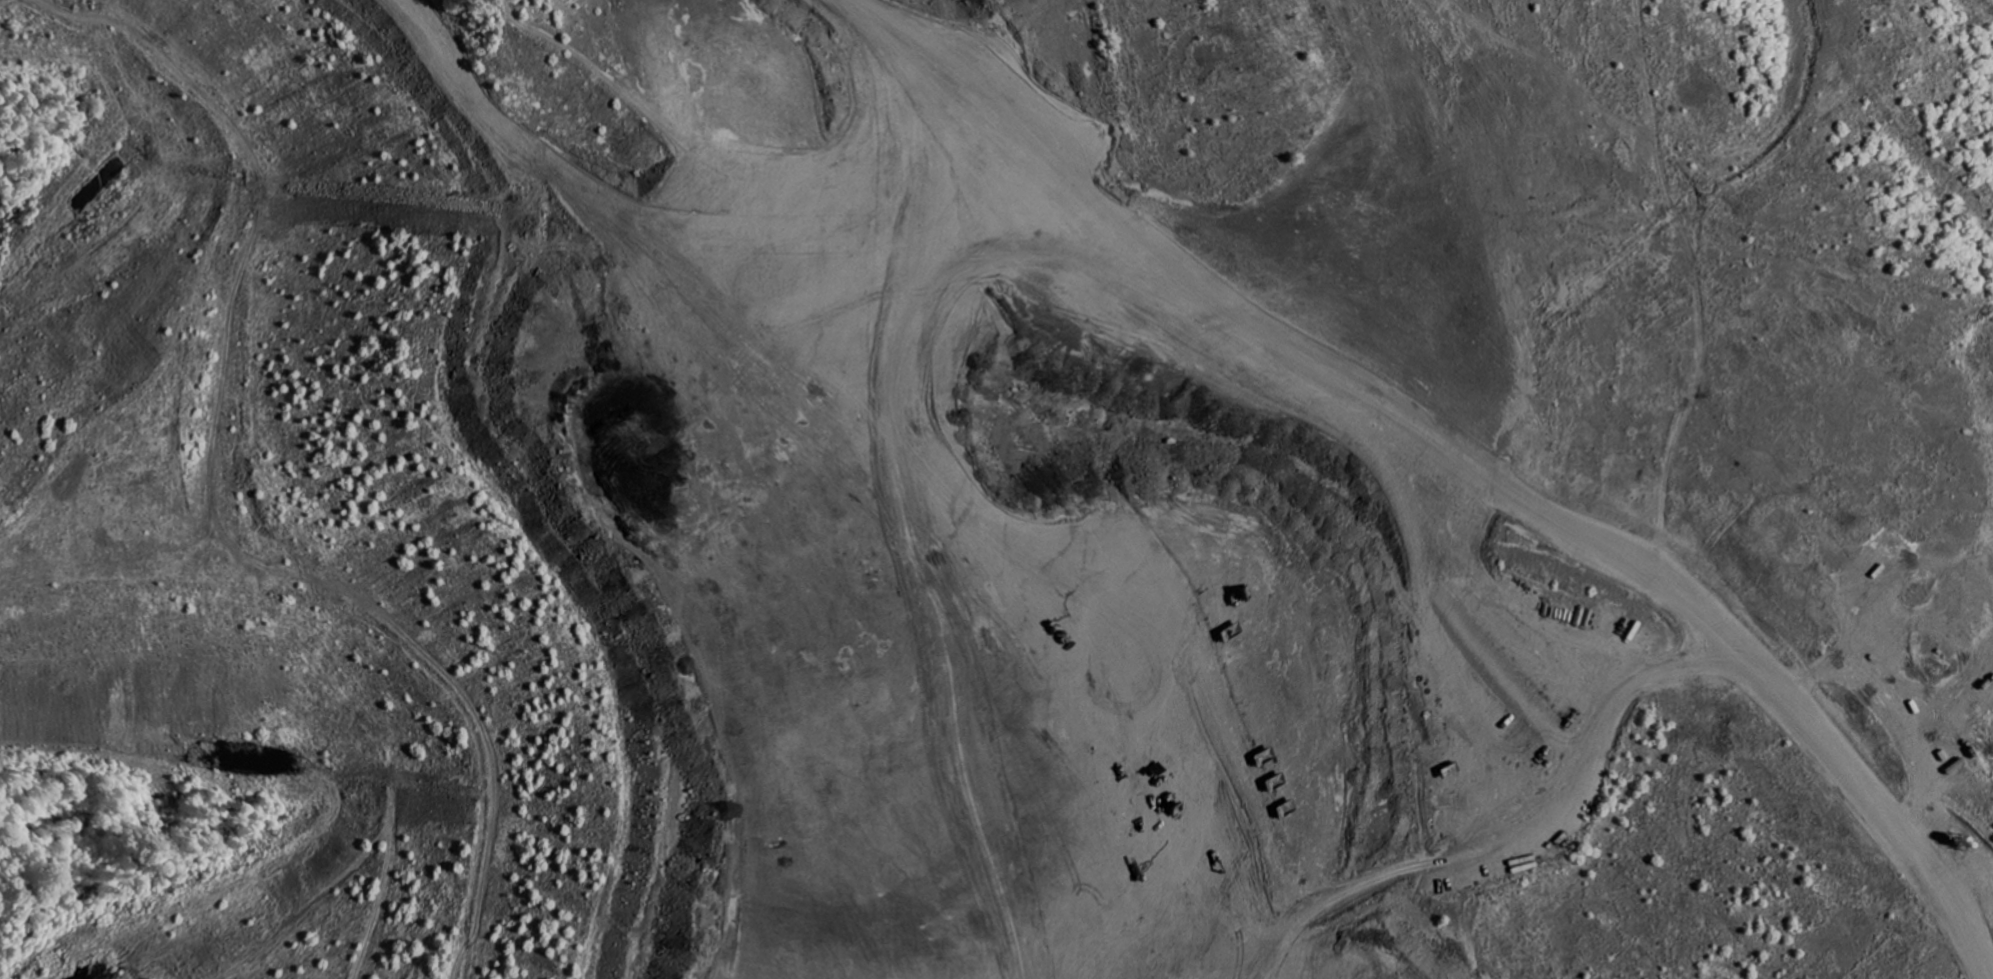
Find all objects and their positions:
quarry: (996, 489)

